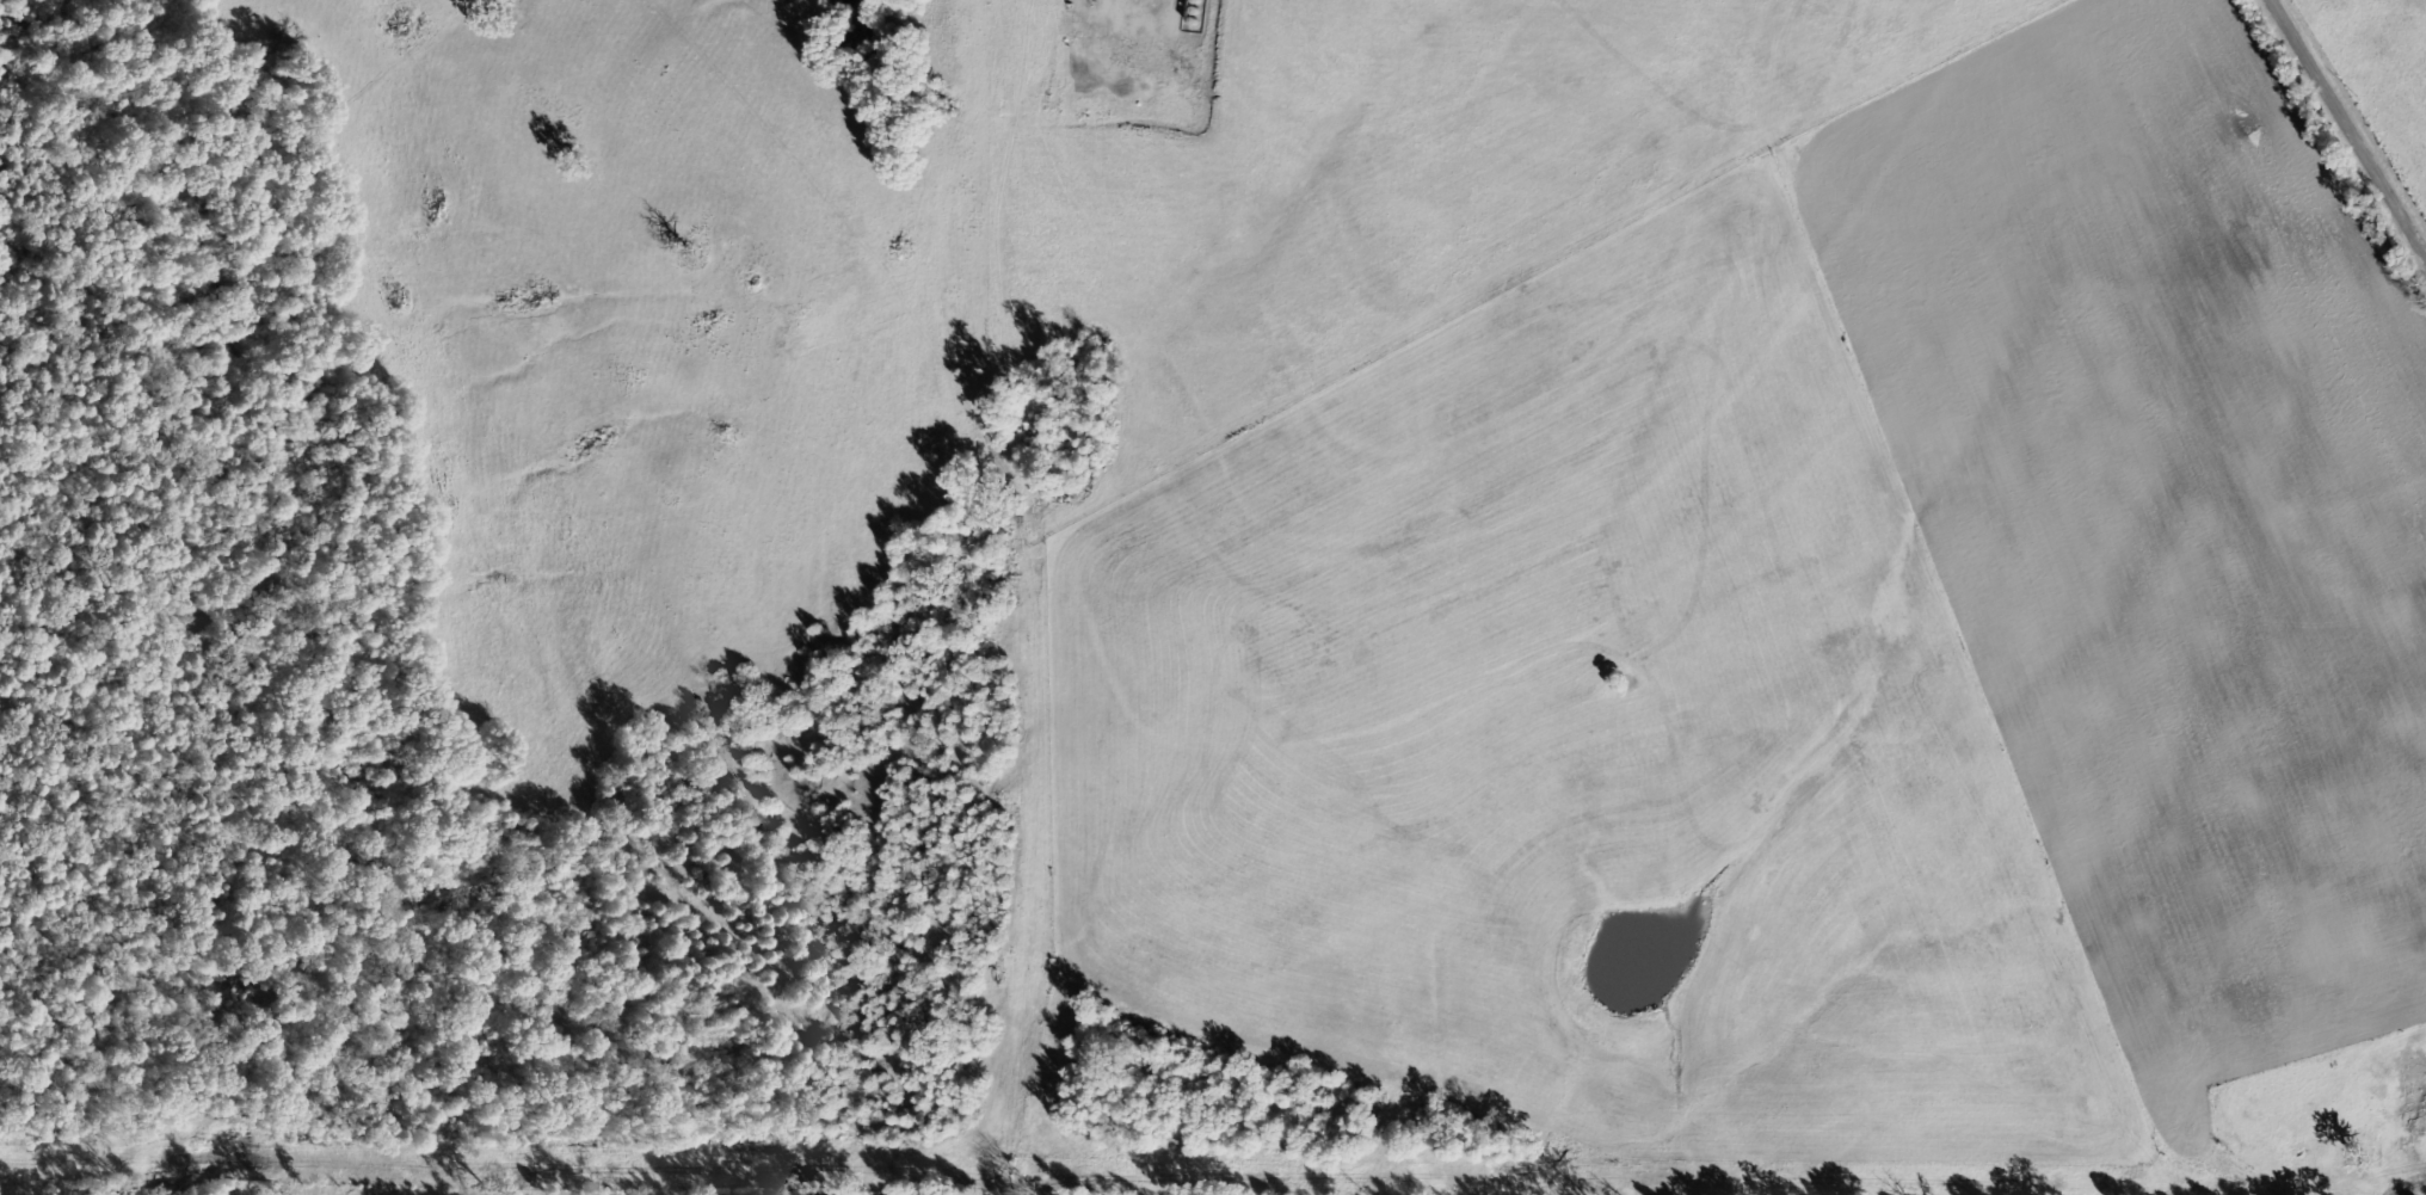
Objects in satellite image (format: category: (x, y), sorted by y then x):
road: (2346, 128)

